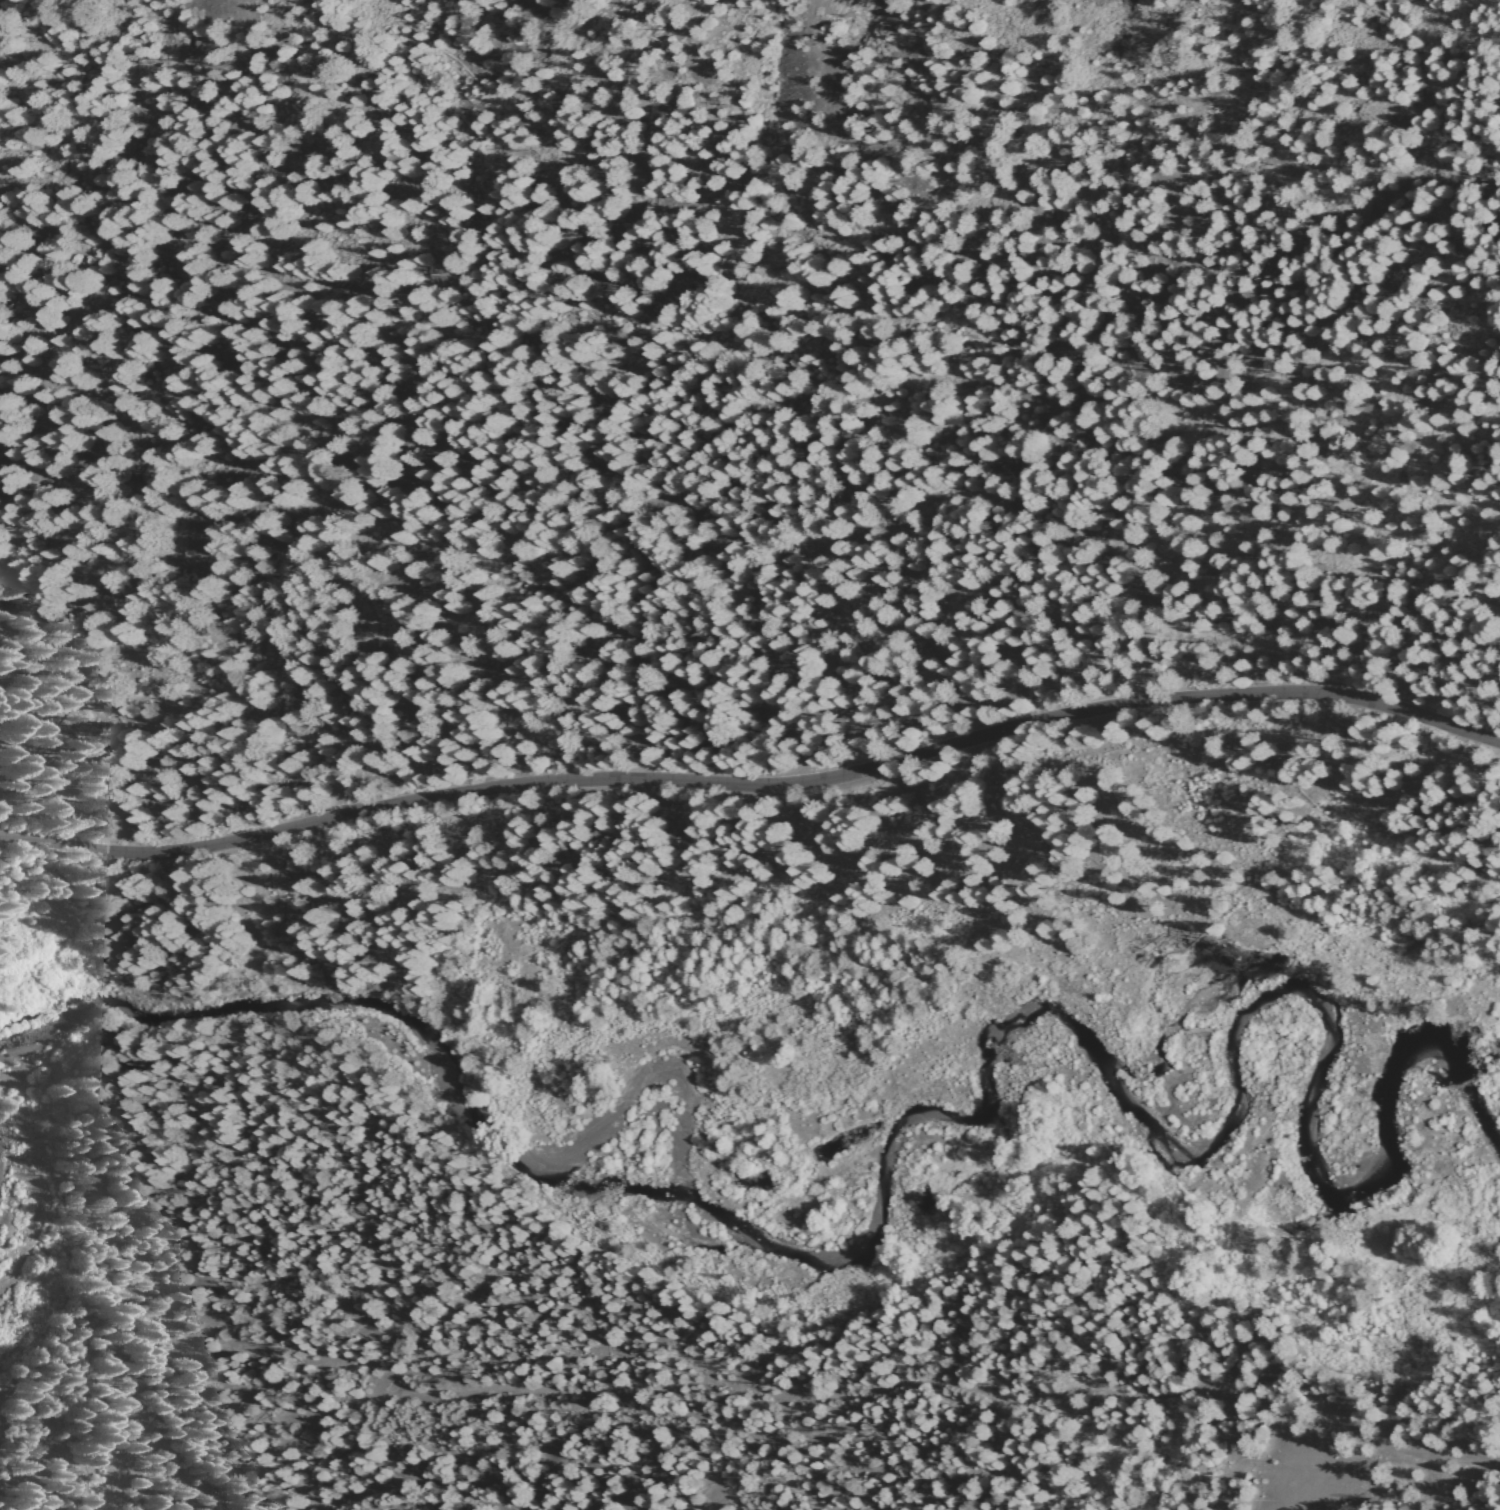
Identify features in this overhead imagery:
road: (754, 779)
road: (883, 1386)

